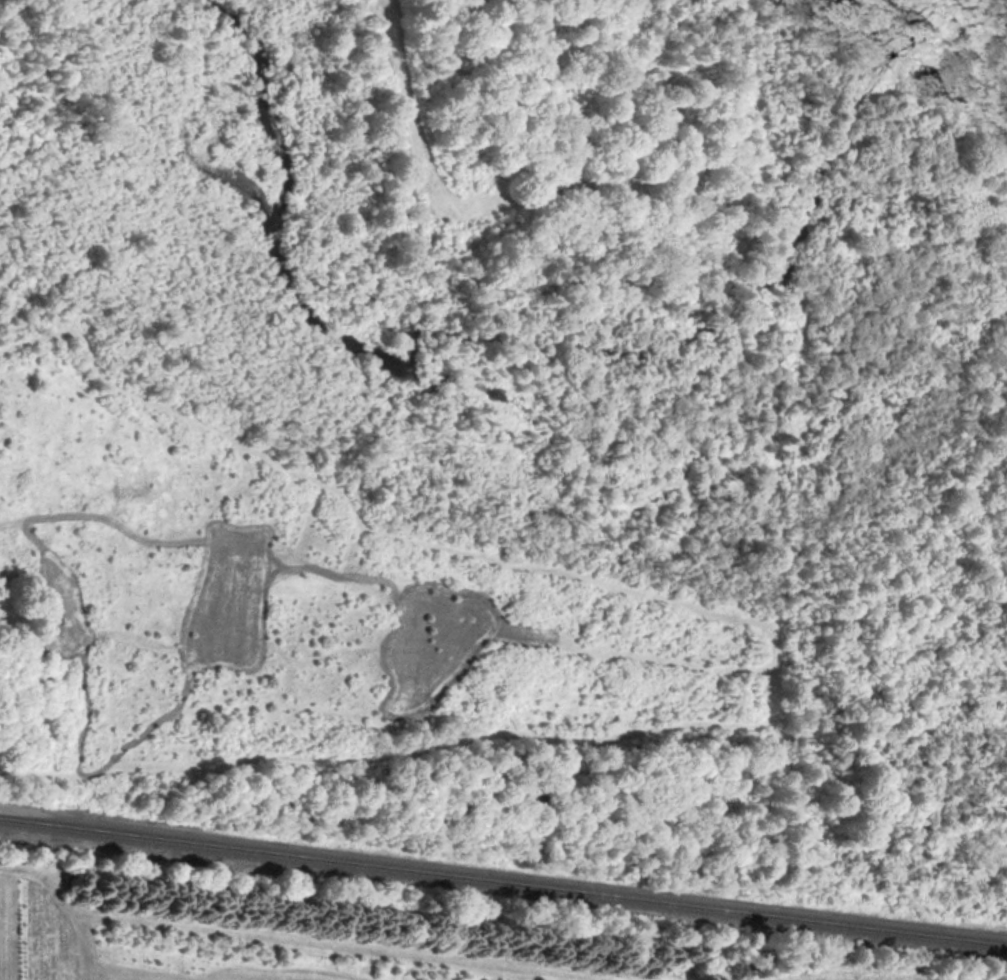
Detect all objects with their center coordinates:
railway: (503, 881)

